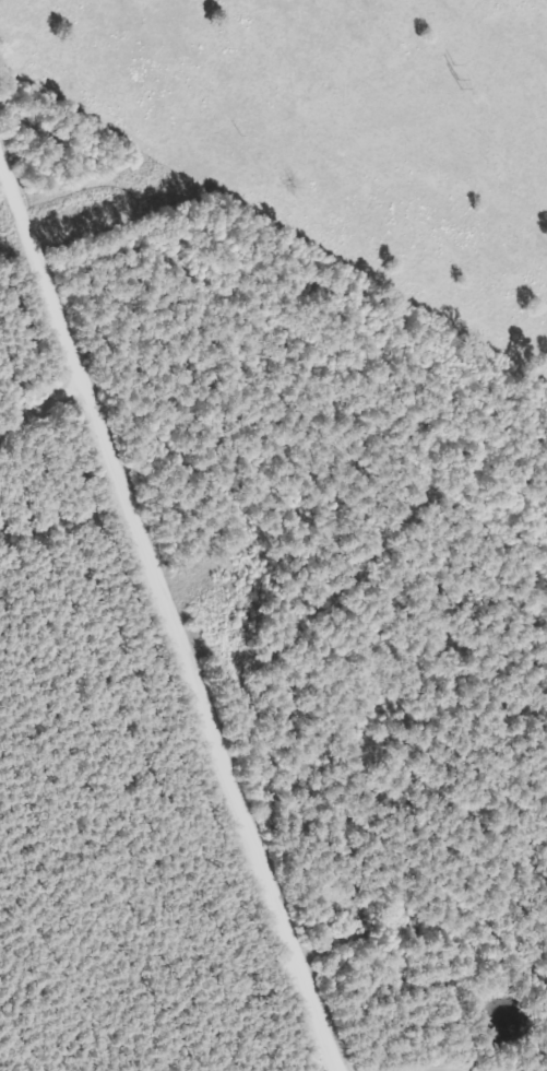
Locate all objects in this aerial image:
power tower: (454, 84)
power tower: (88, 202)
road: (45, 485)
road: (157, 638)

